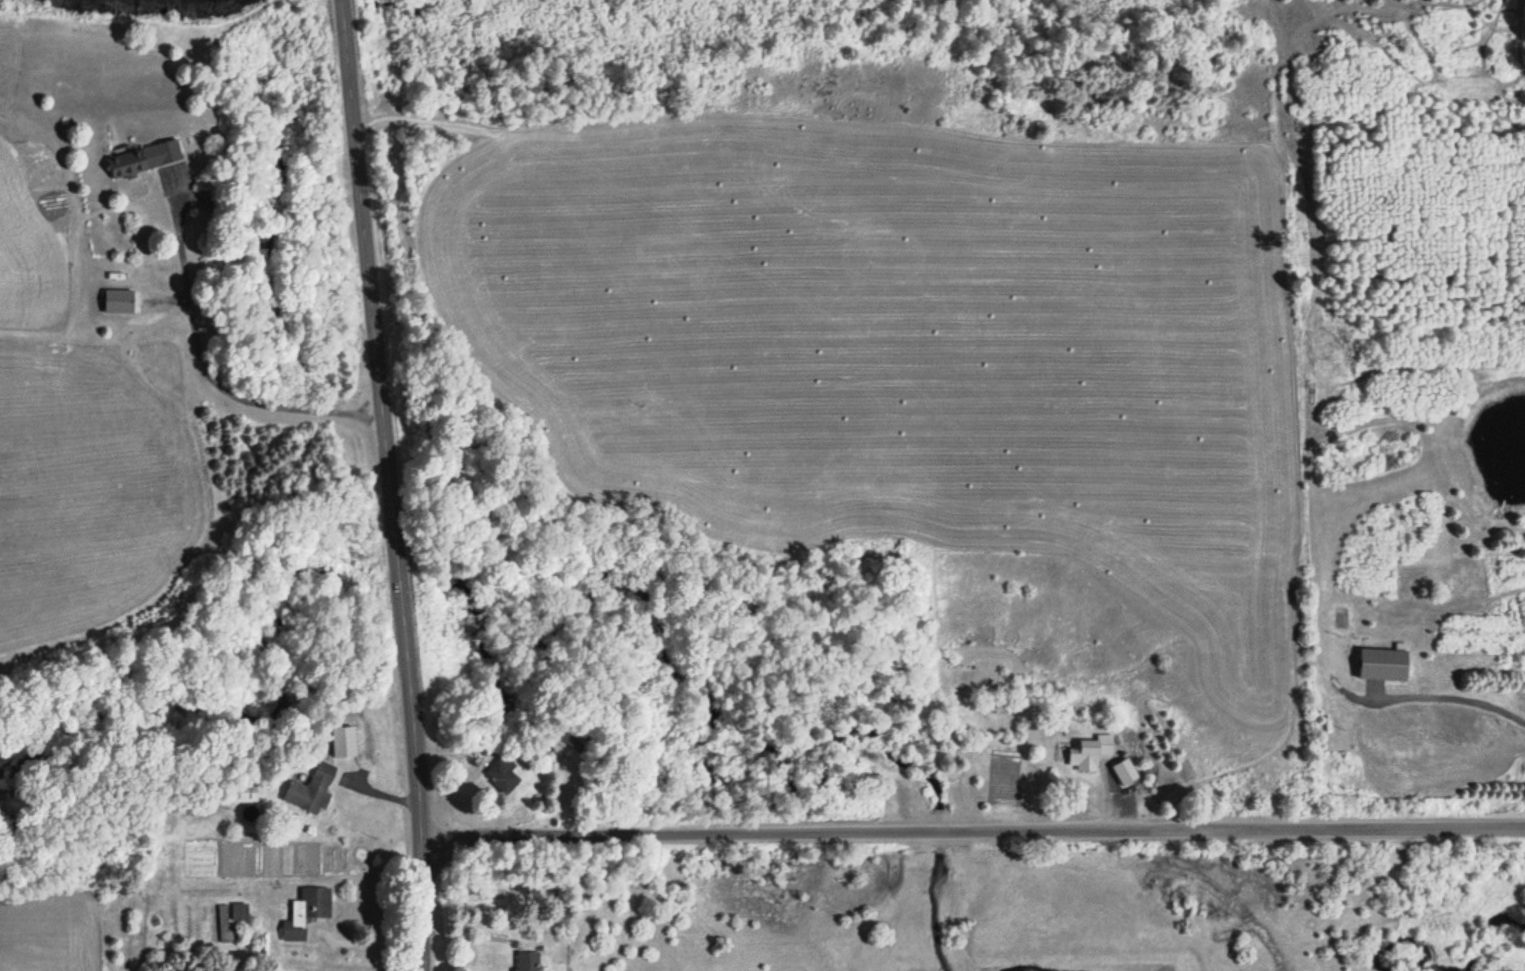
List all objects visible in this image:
building: (146, 158)
building: (121, 302)
road: (387, 485)
building: (1384, 665)
building: (1091, 753)
building: (1126, 773)
building: (504, 775)
building: (313, 790)
building: (244, 795)
road: (975, 835)
building: (240, 912)
building: (308, 913)
building: (221, 924)
building: (528, 962)

